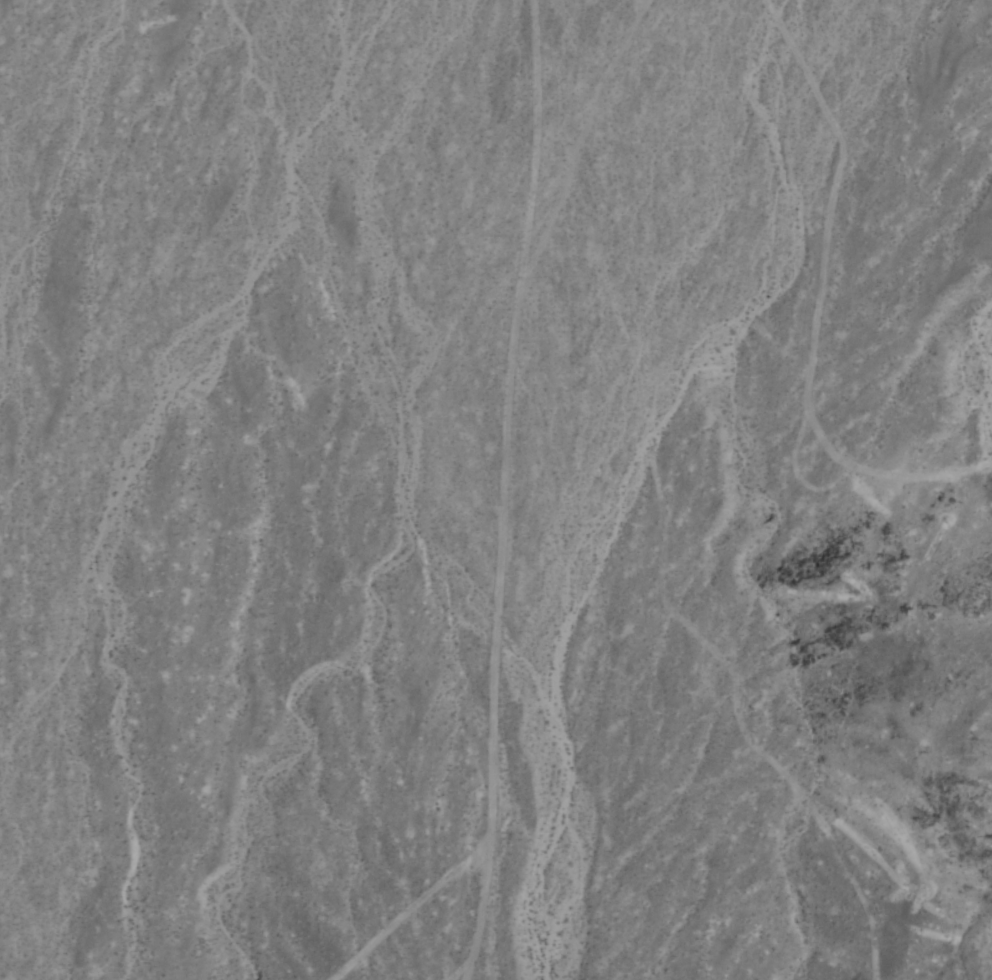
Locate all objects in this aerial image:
road: (580, 142)
road: (822, 302)
road: (509, 490)
road: (415, 912)

